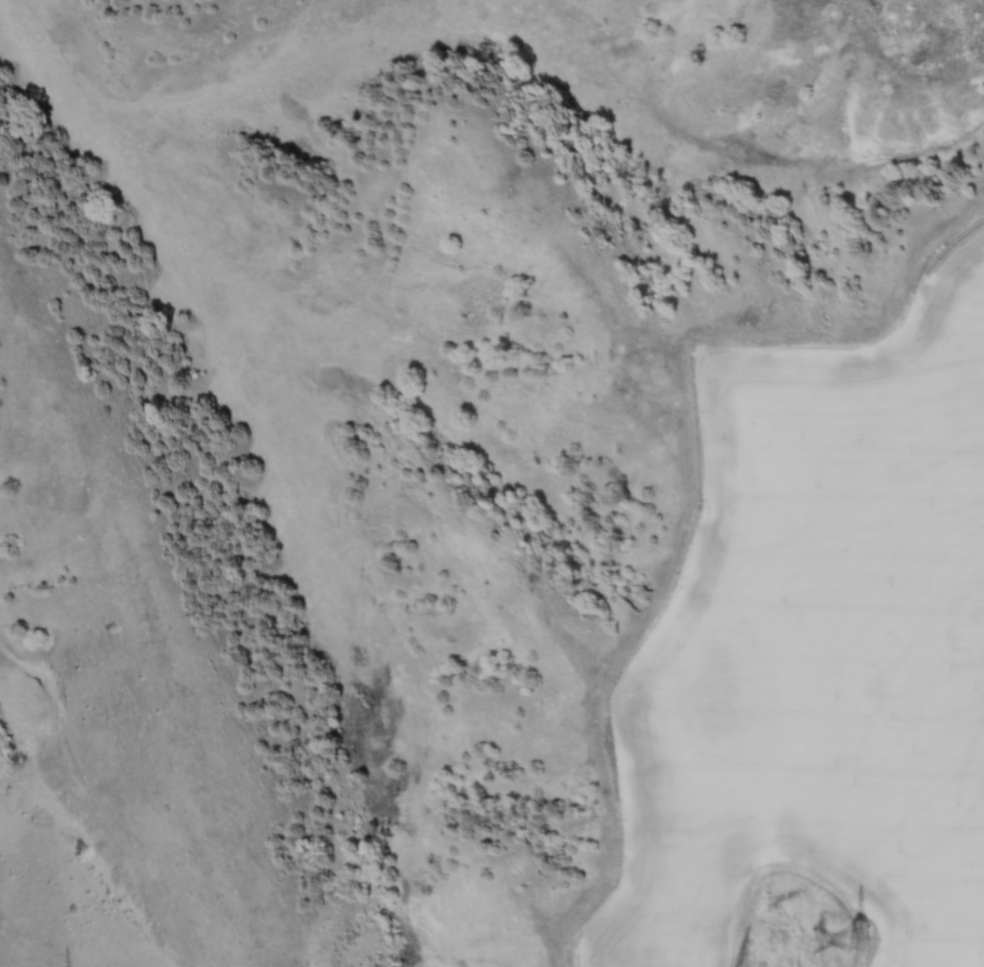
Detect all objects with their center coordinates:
power tower: (858, 940)

